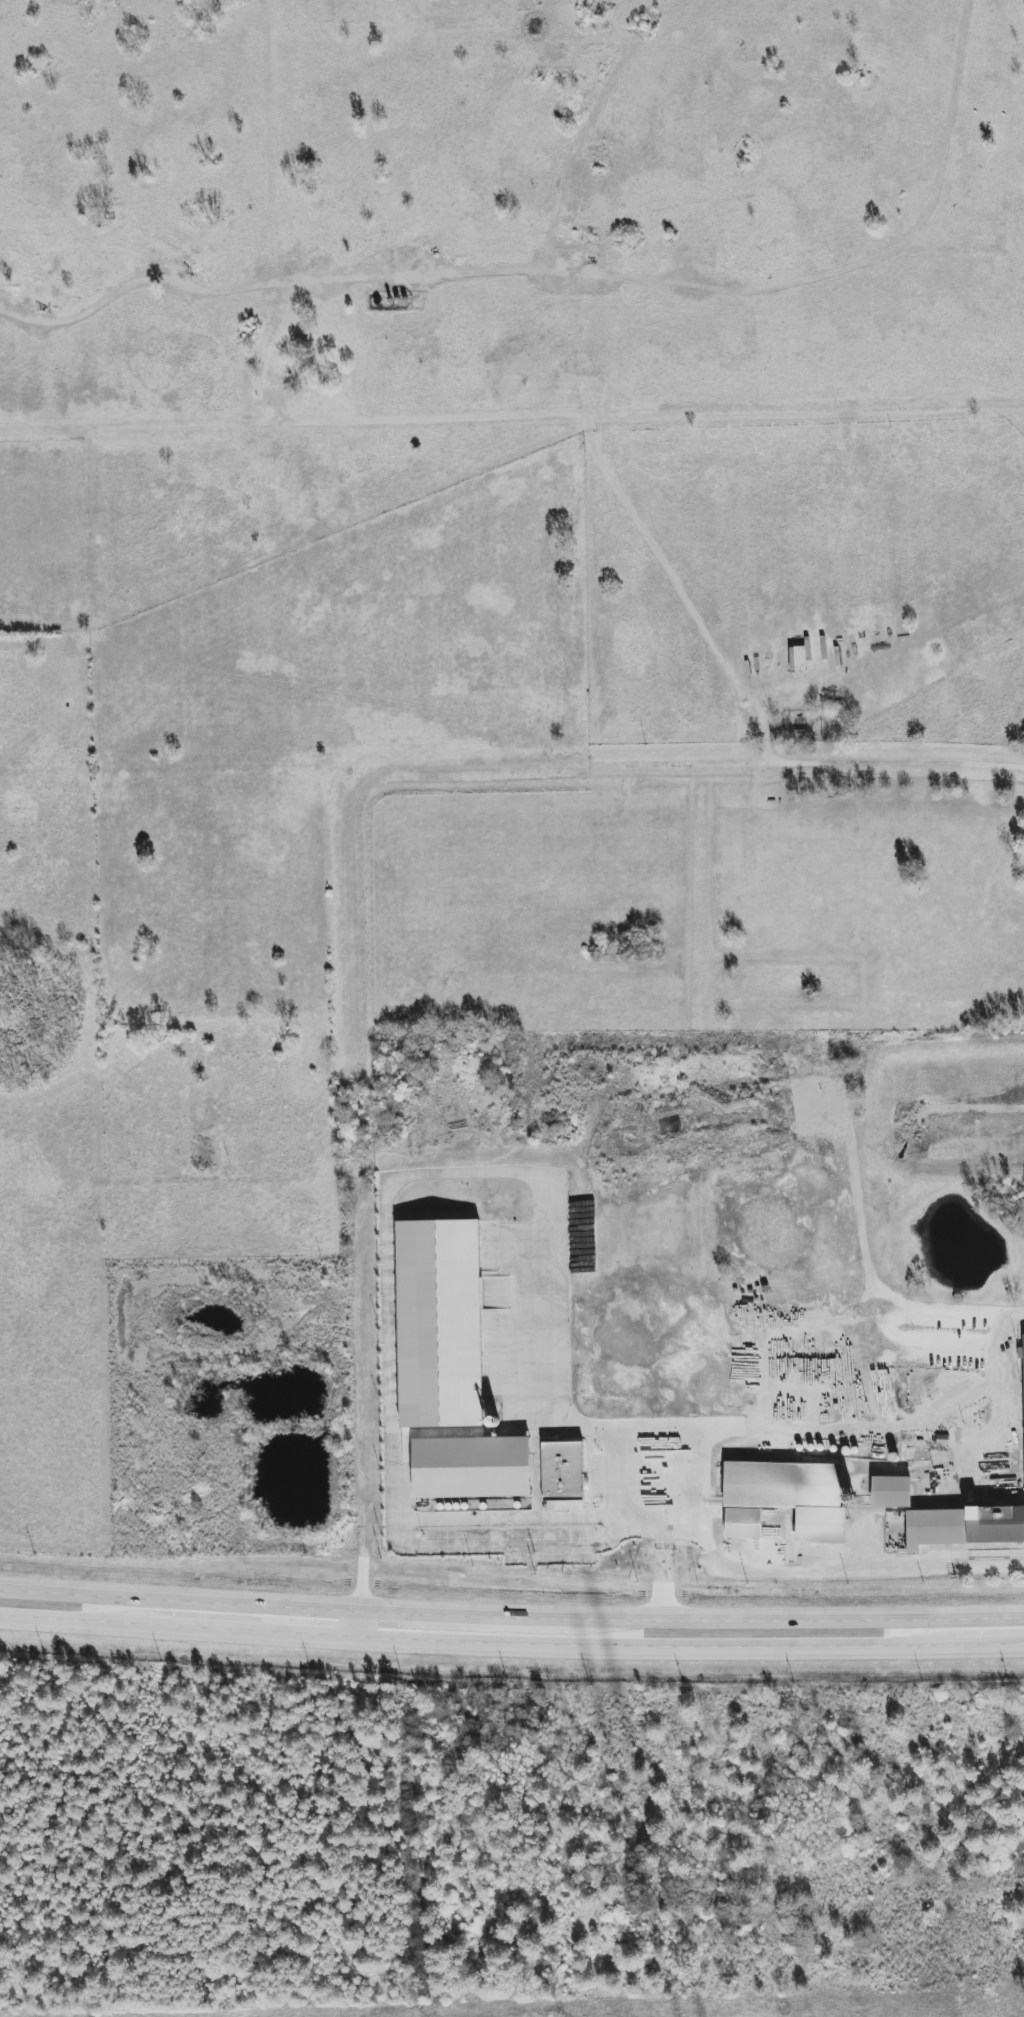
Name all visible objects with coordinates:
road: (512, 419)
building: (798, 658)
road: (349, 884)
road: (394, 1182)
road: (862, 1230)
road: (1013, 1313)
building: (440, 1324)
road: (901, 1341)
road: (862, 1429)
road: (536, 1458)
building: (472, 1468)
building: (563, 1471)
road: (610, 1482)
building: (891, 1492)
building: (786, 1499)
road: (502, 1518)
building: (964, 1526)
road: (836, 1569)
road: (662, 1574)
road: (511, 1615)
road: (511, 1646)

